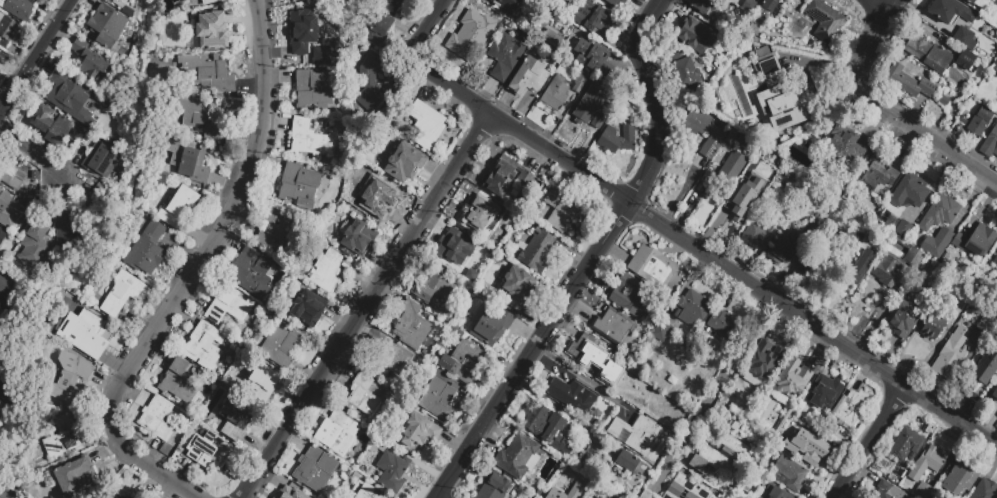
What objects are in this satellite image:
building: (996, 0)
building: (183, 1)
building: (987, 1)
building: (210, 2)
building: (970, 2)
building: (118, 3)
building: (612, 3)
building: (769, 4)
building: (508, 5)
road: (876, 5)
building: (750, 6)
building: (703, 7)
building: (19, 8)
building: (949, 12)
building: (593, 19)
building: (825, 21)
building: (383, 23)
building: (107, 28)
building: (301, 30)
road: (424, 30)
building: (213, 31)
building: (7, 33)
building: (469, 36)
building: (550, 37)
building: (695, 37)
building: (965, 39)
building: (312, 44)
building: (327, 52)
building: (928, 53)
road: (36, 55)
building: (507, 56)
building: (594, 57)
building: (966, 61)
building: (91, 64)
building: (768, 65)
building: (685, 74)
building: (56, 76)
building: (212, 77)
building: (529, 77)
building: (906, 79)
building: (578, 84)
building: (370, 86)
building: (314, 92)
building: (555, 96)
building: (73, 100)
building: (742, 100)
building: (942, 101)
building: (781, 103)
building: (109, 104)
building: (588, 105)
road: (883, 112)
building: (199, 118)
building: (598, 121)
building: (980, 122)
building: (695, 123)
building: (53, 127)
building: (428, 127)
building: (804, 130)
building: (731, 138)
building: (617, 139)
building: (744, 142)
building: (711, 143)
building: (990, 143)
building: (307, 144)
building: (807, 145)
building: (843, 146)
road: (33, 151)
building: (188, 158)
building: (102, 162)
building: (404, 162)
building: (781, 162)
building: (732, 166)
building: (775, 170)
building: (9, 172)
building: (878, 173)
building: (34, 176)
building: (505, 176)
building: (299, 186)
building: (909, 192)
building: (744, 195)
building: (380, 201)
building: (98, 203)
building: (179, 208)
building: (560, 210)
building: (7, 212)
building: (938, 214)
building: (479, 217)
building: (903, 229)
building: (759, 231)
building: (71, 233)
building: (275, 235)
building: (355, 235)
building: (3, 239)
building: (856, 241)
building: (976, 241)
building: (937, 244)
building: (791, 245)
building: (37, 246)
building: (537, 250)
building: (996, 251)
building: (148, 252)
building: (458, 252)
road: (703, 254)
road: (593, 260)
building: (995, 261)
building: (828, 264)
building: (652, 267)
building: (861, 267)
building: (896, 267)
building: (804, 271)
building: (253, 273)
building: (327, 273)
road: (191, 275)
building: (996, 278)
building: (959, 286)
building: (435, 288)
building: (515, 288)
building: (121, 293)
building: (630, 294)
building: (5, 295)
road: (364, 307)
building: (230, 308)
building: (692, 308)
building: (308, 311)
building: (3, 317)
building: (905, 317)
building: (492, 324)
building: (725, 325)
building: (985, 325)
building: (412, 327)
building: (612, 327)
building: (932, 327)
building: (662, 330)
building: (90, 334)
building: (204, 345)
building: (282, 349)
building: (588, 354)
building: (951, 354)
building: (2, 358)
building: (764, 359)
building: (389, 362)
building: (462, 362)
building: (982, 371)
building: (428, 372)
building: (793, 378)
building: (71, 380)
road: (583, 380)
building: (263, 382)
building: (180, 383)
building: (6, 386)
road: (712, 391)
building: (825, 391)
building: (569, 393)
building: (638, 393)
building: (995, 393)
building: (364, 398)
building: (439, 401)
road: (556, 407)
building: (848, 409)
building: (158, 420)
building: (236, 420)
building: (558, 424)
building: (636, 434)
building: (413, 435)
building: (341, 436)
building: (65, 440)
road: (869, 442)
building: (906, 444)
building: (808, 446)
building: (379, 447)
building: (719, 453)
building: (212, 455)
building: (518, 456)
building: (587, 460)
building: (627, 461)
building: (927, 462)
building: (318, 471)
building: (790, 473)
building: (391, 474)
building: (72, 477)
building: (959, 479)
building: (494, 486)
building: (685, 488)
building: (559, 490)
building: (923, 490)
building: (985, 490)
building: (890, 491)
building: (775, 492)
building: (290, 493)
building: (367, 493)
building: (115, 496)
building: (589, 496)
building: (647, 496)
building: (273, 497)
building: (382, 497)
building: (598, 497)

